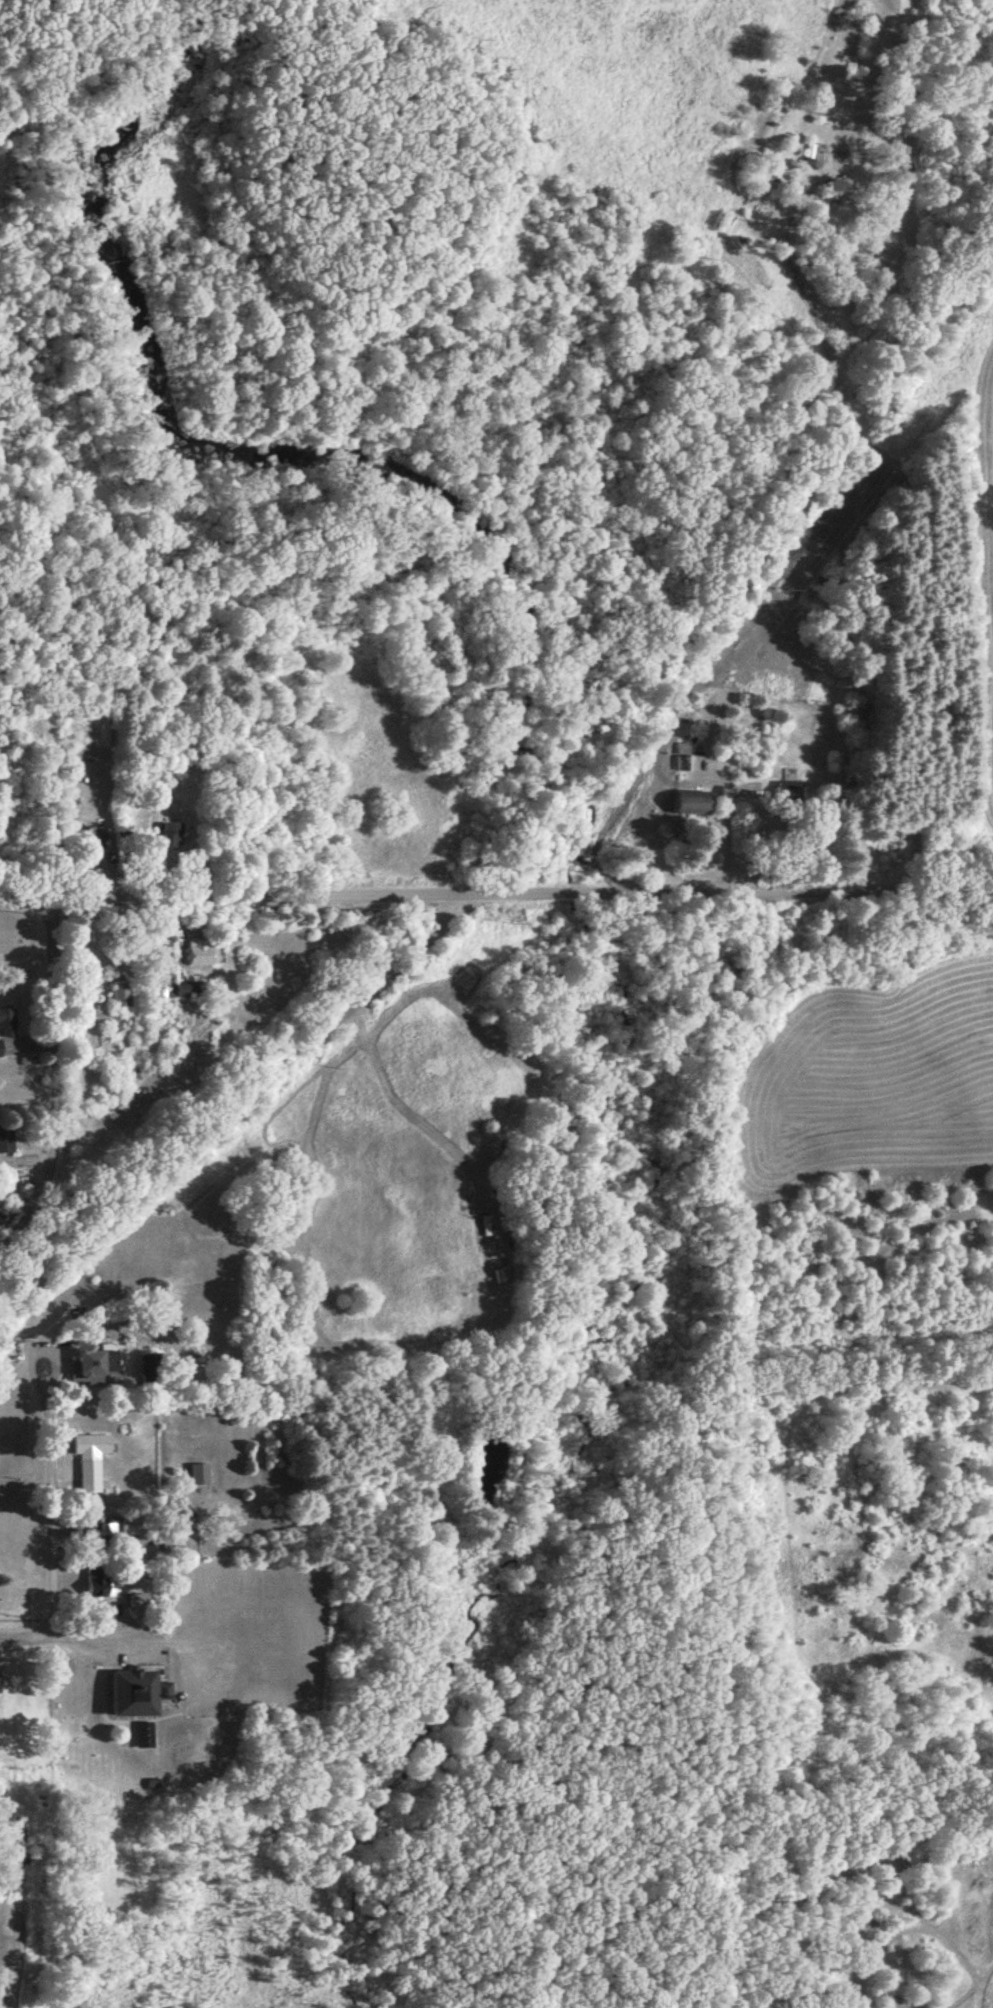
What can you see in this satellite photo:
building: (679, 756)
building: (685, 804)
building: (167, 835)
building: (92, 837)
road: (496, 897)
building: (198, 952)
building: (176, 990)
building: (118, 994)
building: (159, 994)
building: (5, 1022)
road: (53, 1086)
building: (4, 1137)
building: (85, 1364)
building: (86, 1459)
building: (196, 1474)
road: (53, 1507)
building: (95, 1532)
building: (95, 1585)
road: (105, 1628)
parking lot: (208, 1664)
building: (161, 1690)
building: (126, 1694)
building: (141, 1733)

